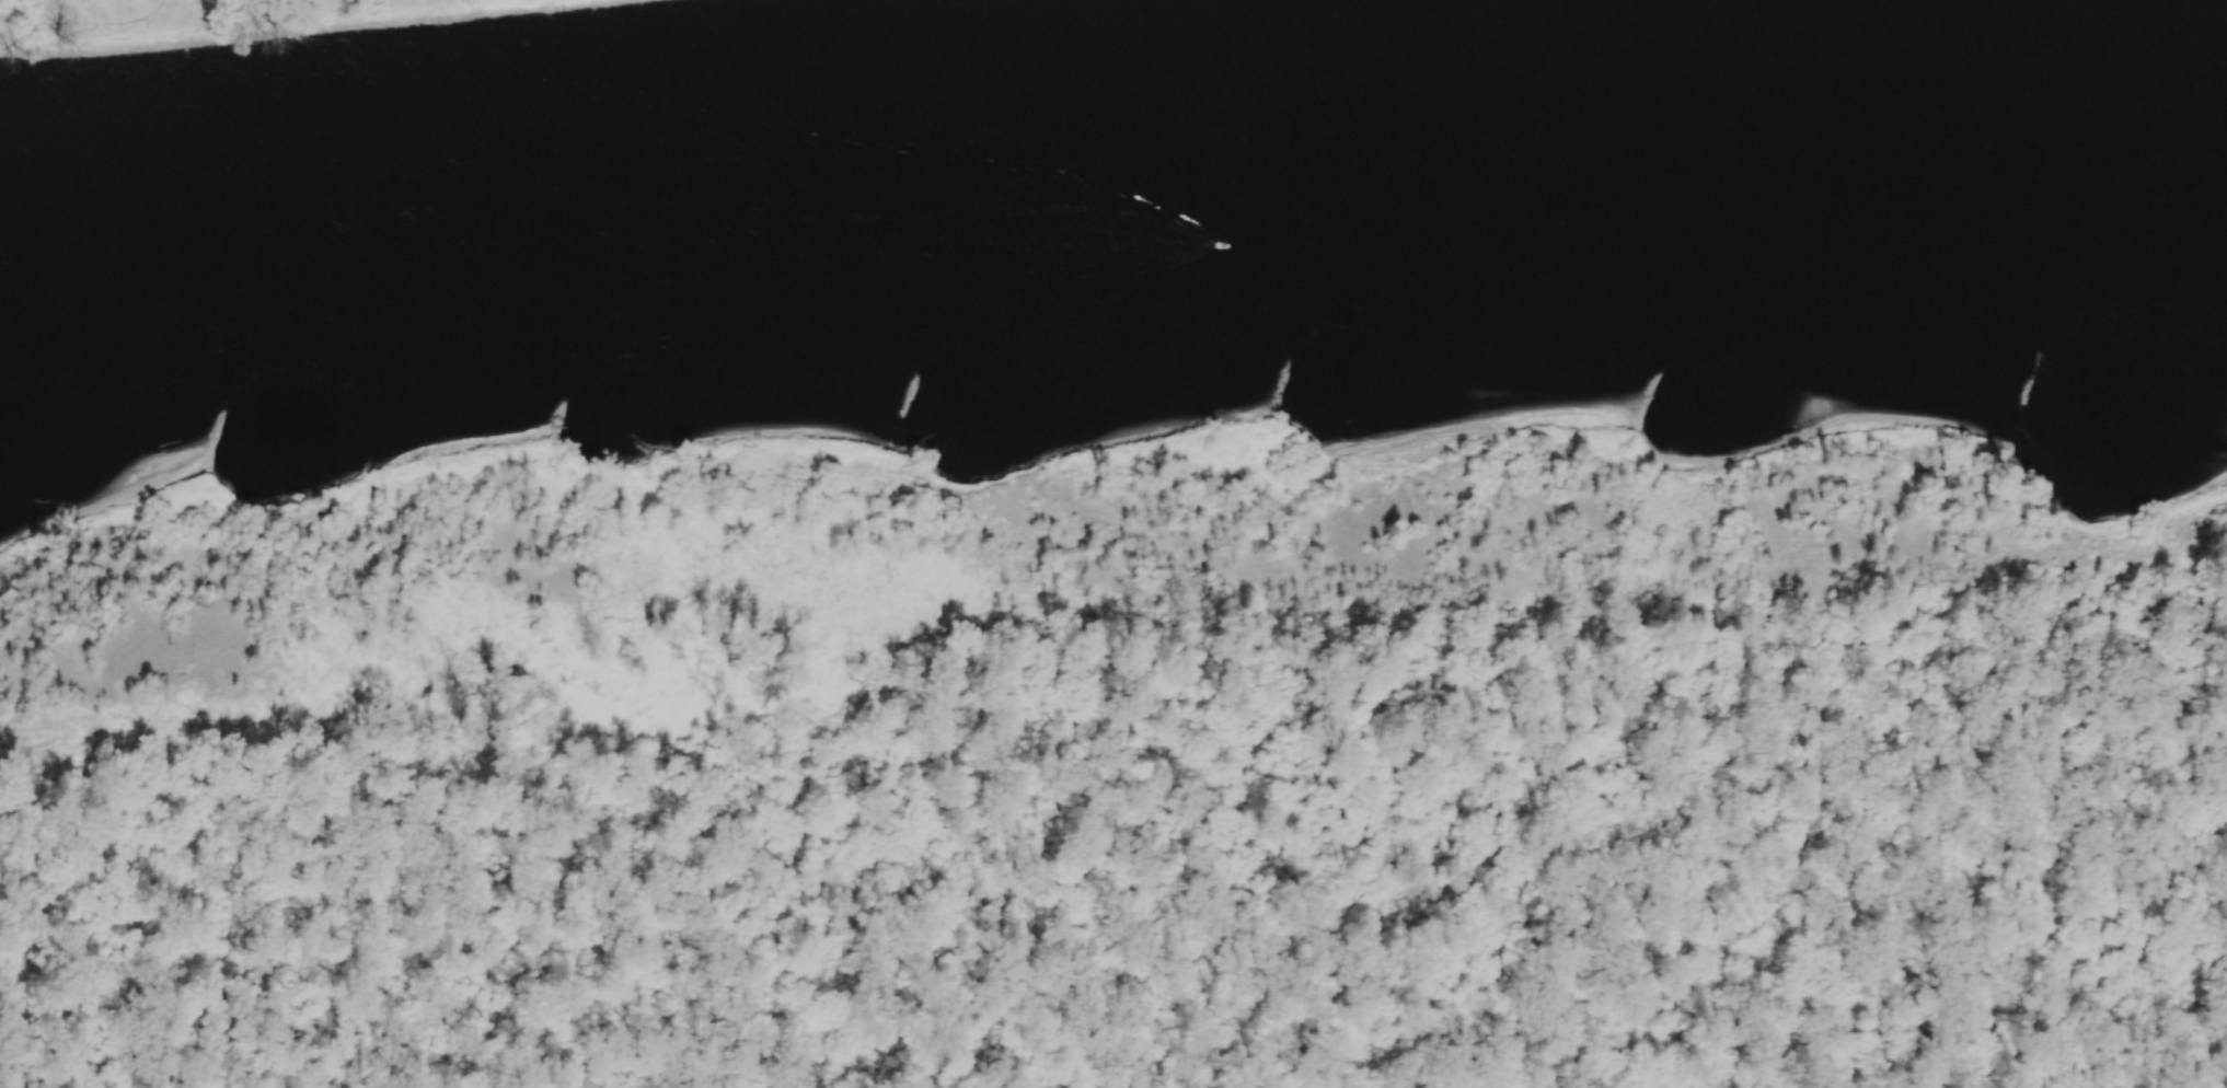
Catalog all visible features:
river: (831, 108)
river: (1110, 207)

